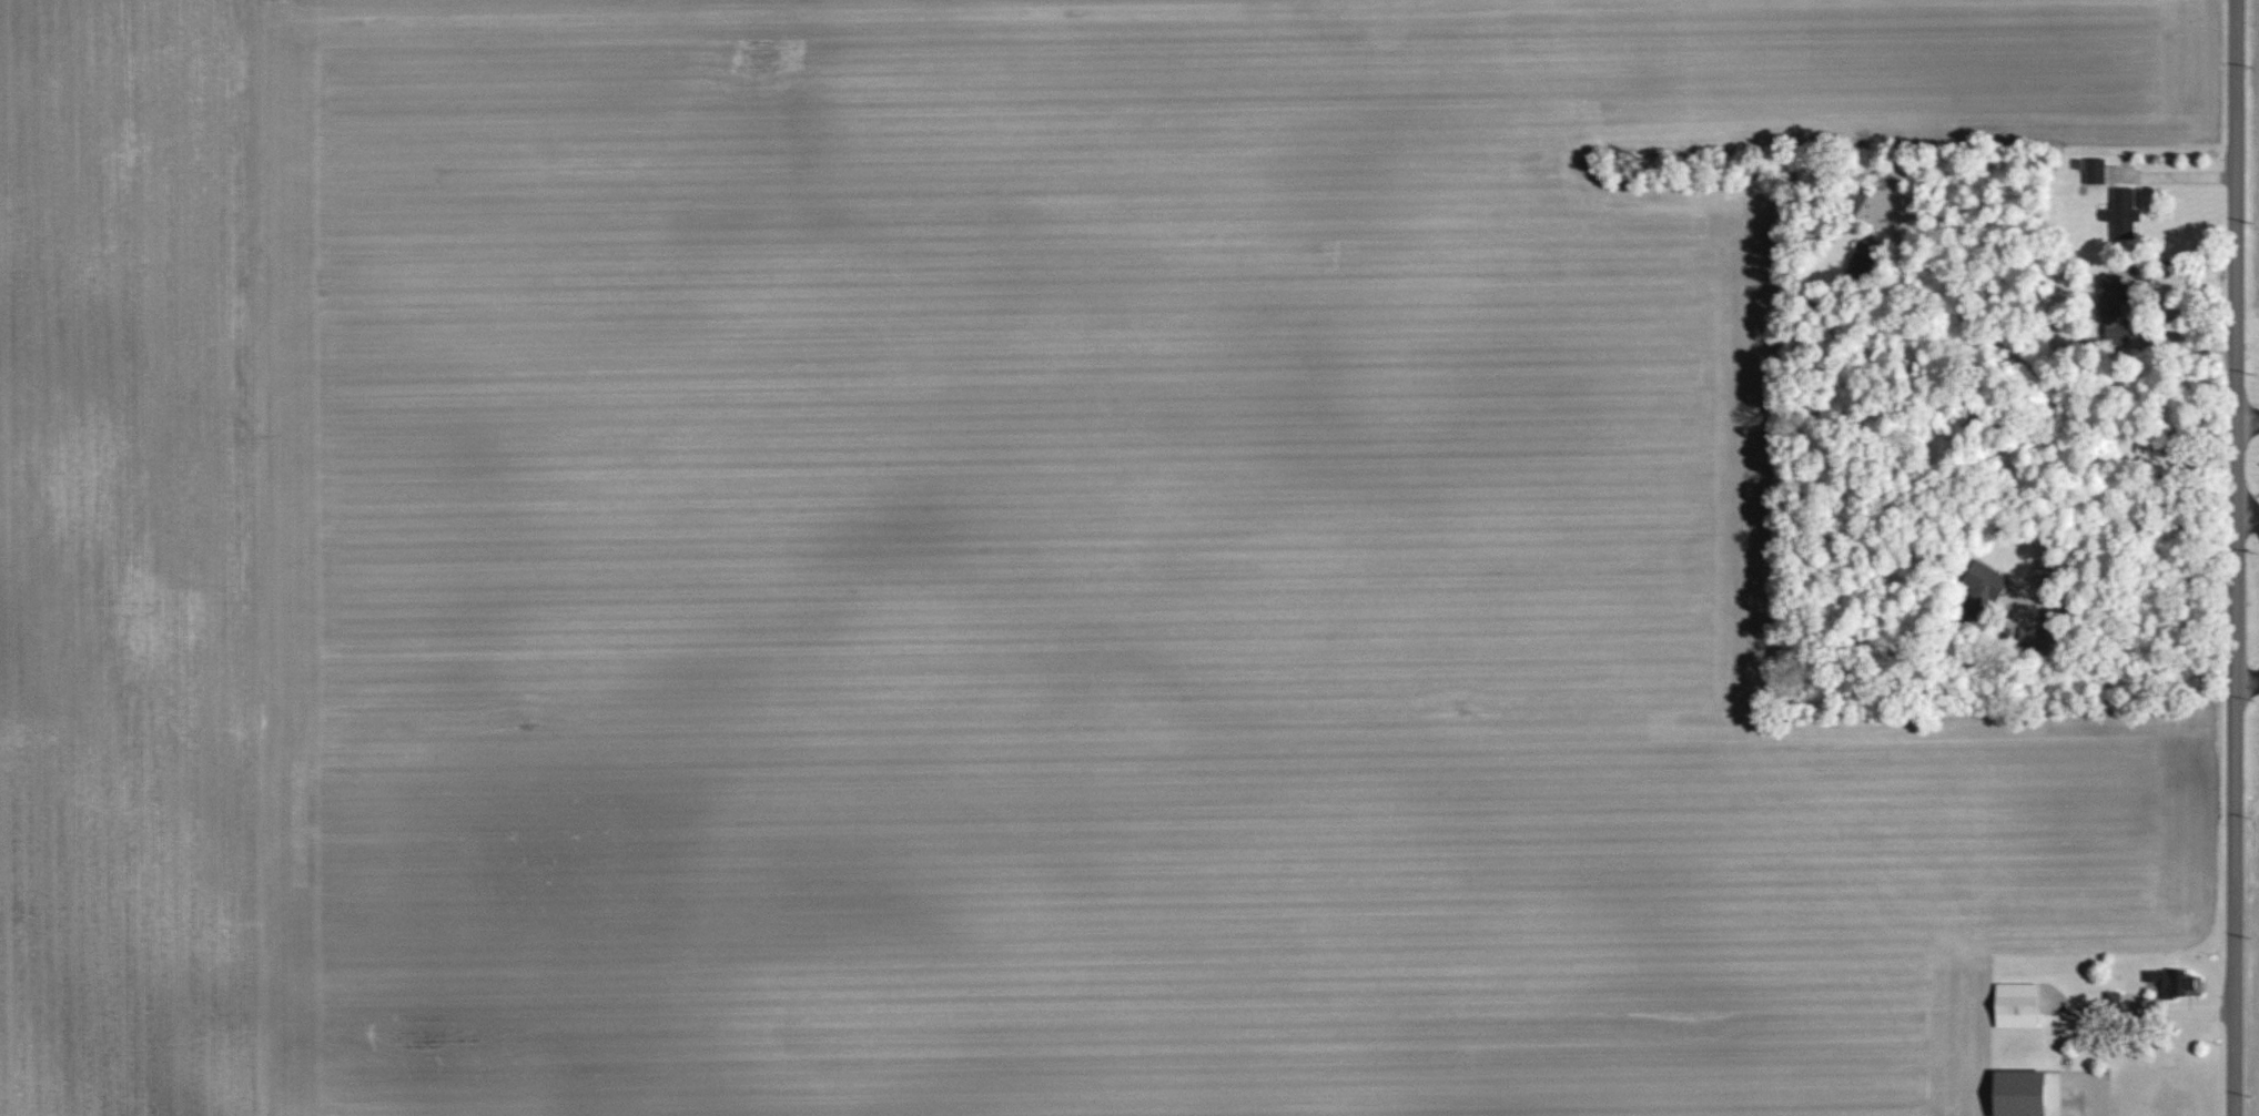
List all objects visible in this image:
building: (2095, 170)
building: (2121, 212)
building: (2140, 223)
road: (2248, 521)
road: (2237, 558)
building: (2177, 981)
building: (2018, 1004)
road: (2148, 1016)
building: (2023, 1092)

